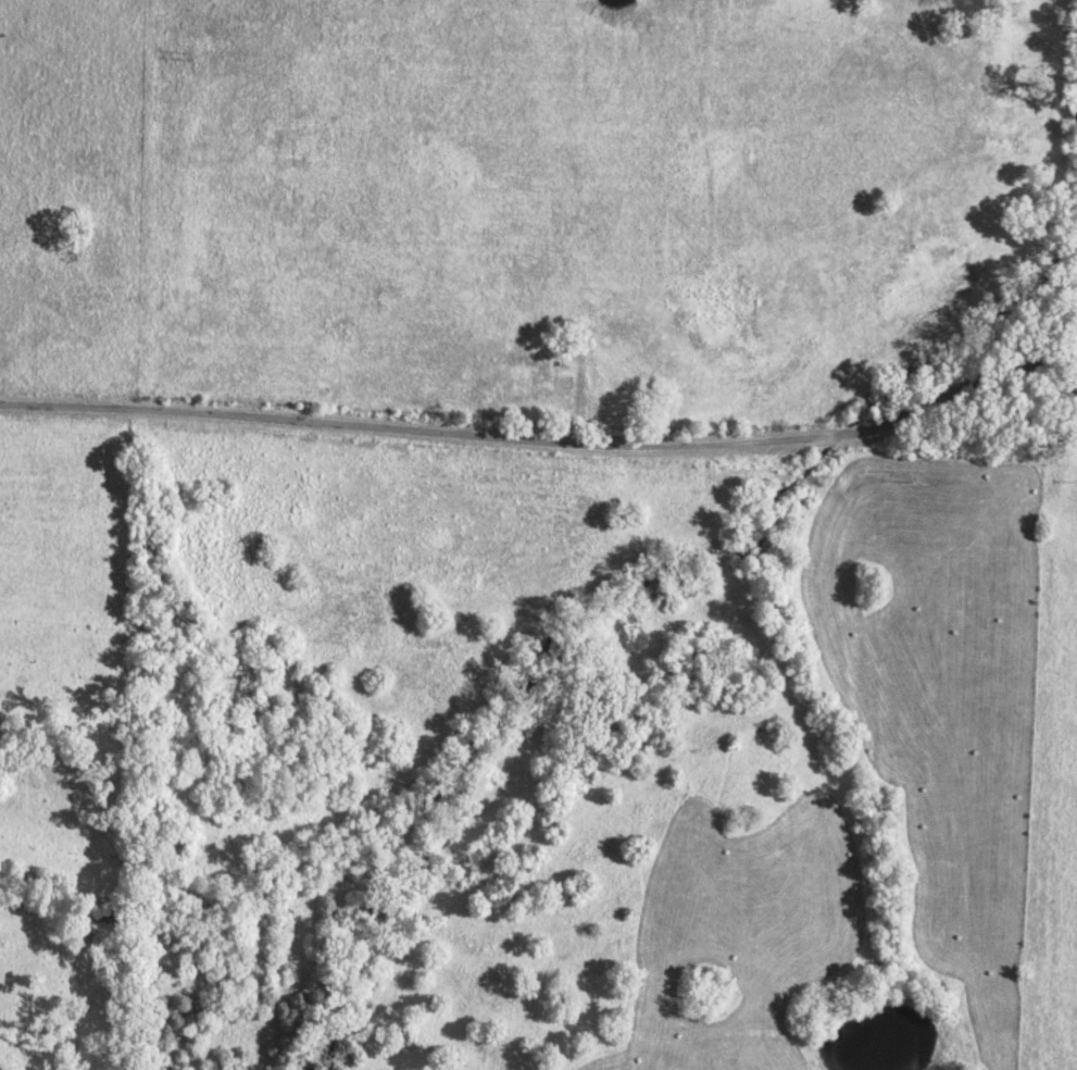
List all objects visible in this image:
building: (529, 380)
road: (546, 444)

